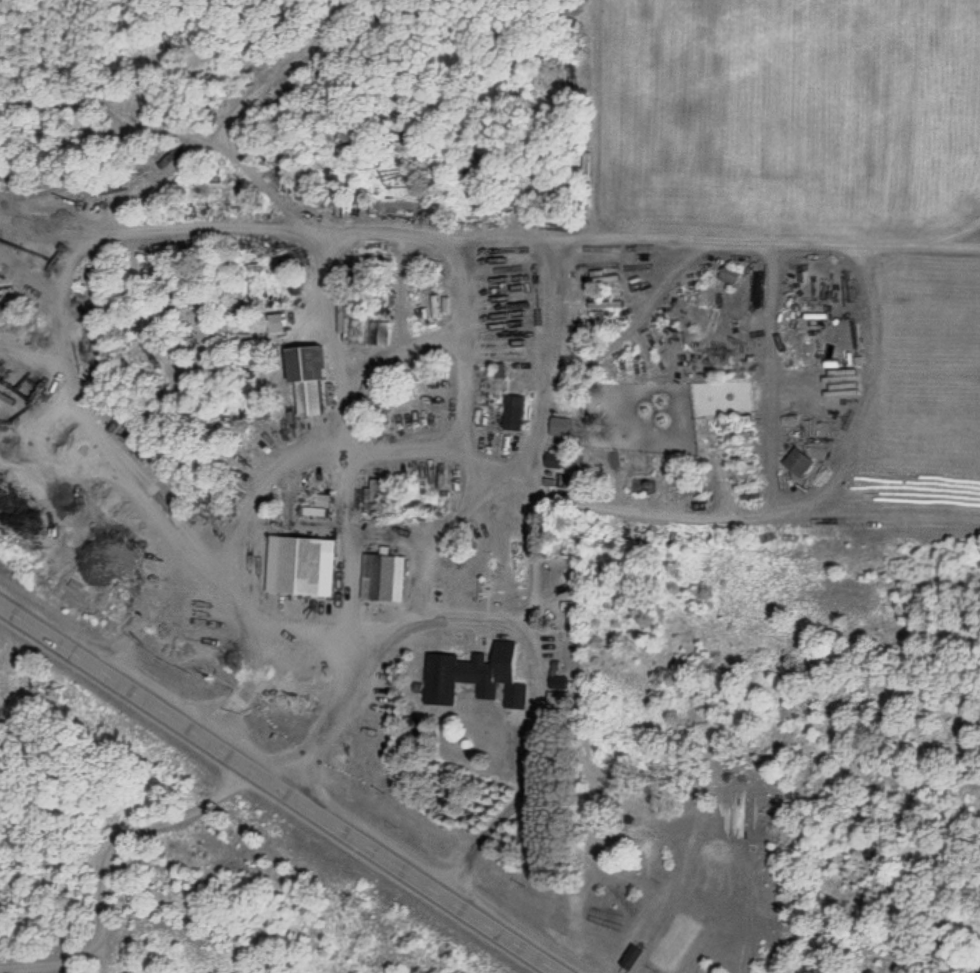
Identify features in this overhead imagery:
building: (600, 192)
road: (390, 240)
building: (729, 275)
building: (254, 337)
building: (310, 377)
building: (515, 412)
building: (799, 462)
building: (827, 463)
building: (377, 495)
building: (318, 507)
building: (301, 565)
building: (384, 577)
building: (466, 673)
road: (287, 784)

